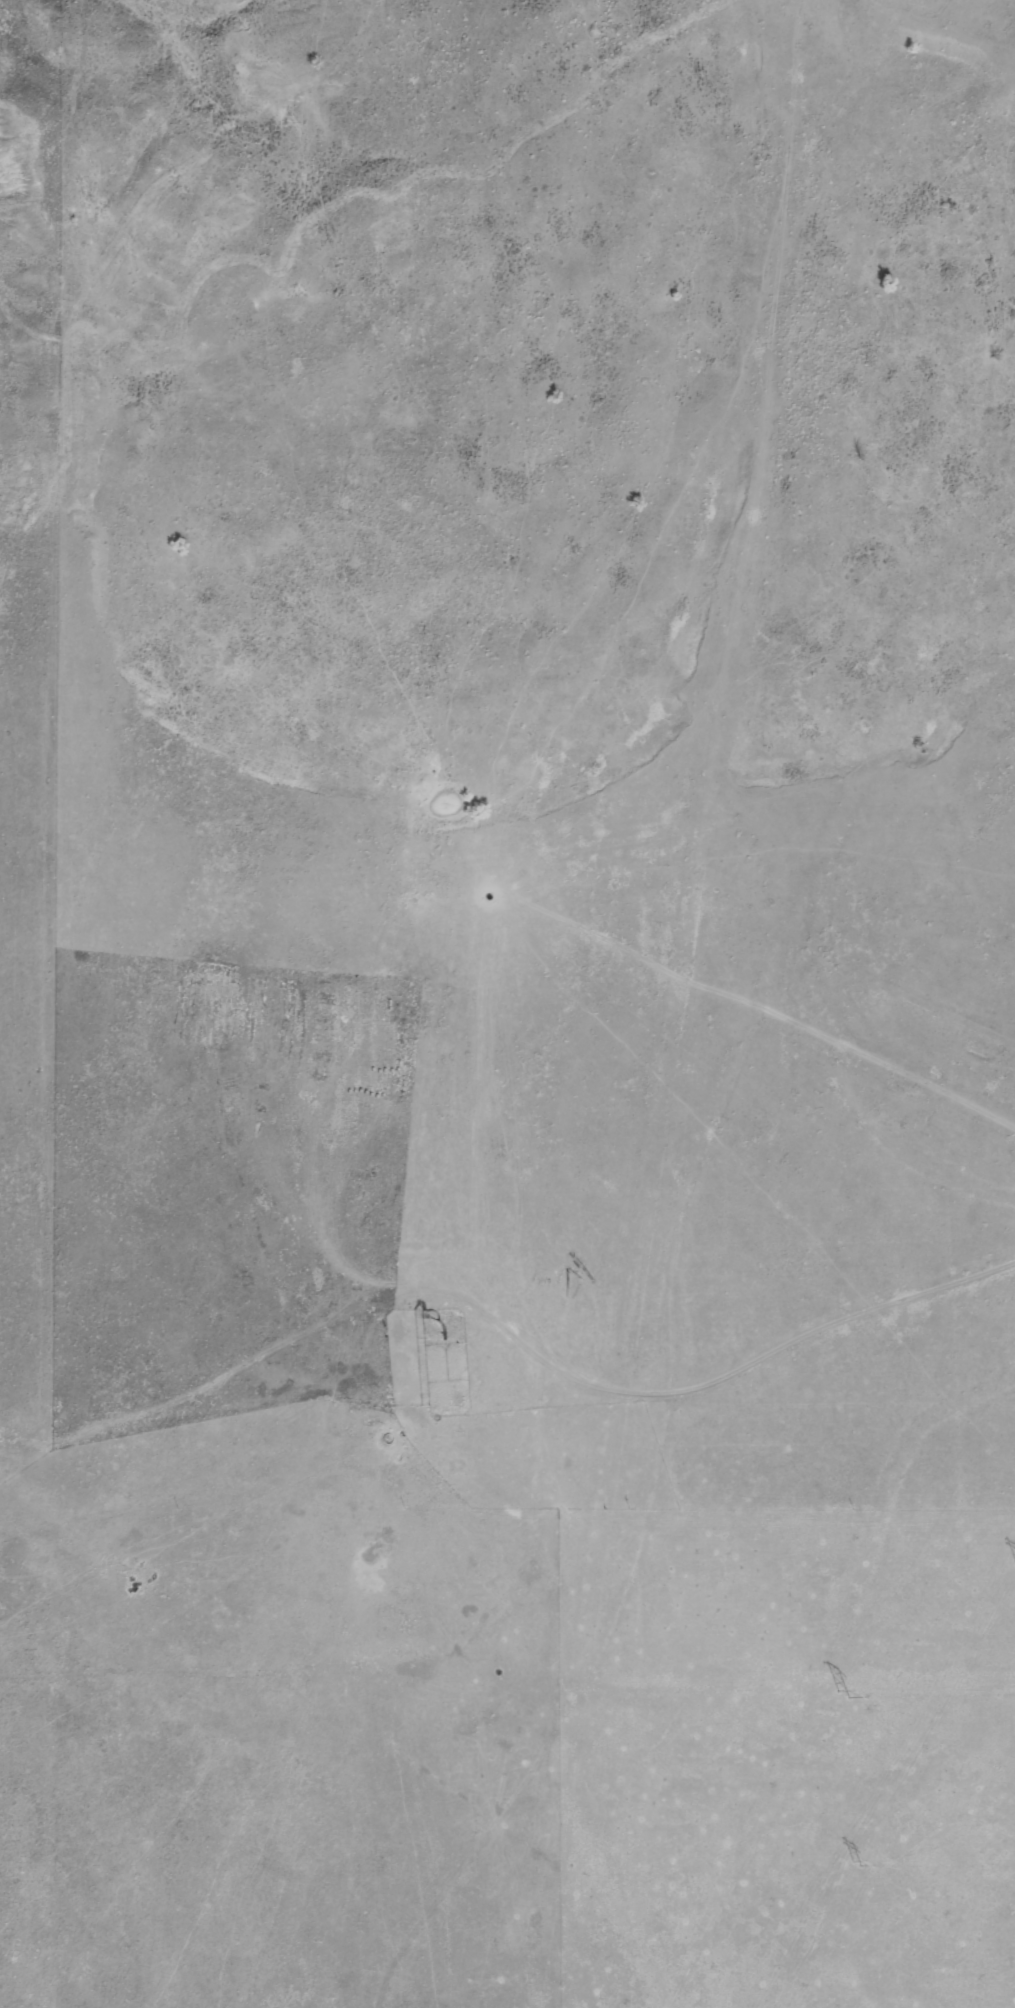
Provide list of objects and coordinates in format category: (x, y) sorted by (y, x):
road: (775, 883)
road: (873, 1098)
road: (504, 1255)
road: (499, 1521)
power tower: (1007, 1565)
road: (753, 1679)
power tower: (839, 1693)
road: (432, 1849)
power tower: (845, 1865)
road: (550, 1897)

